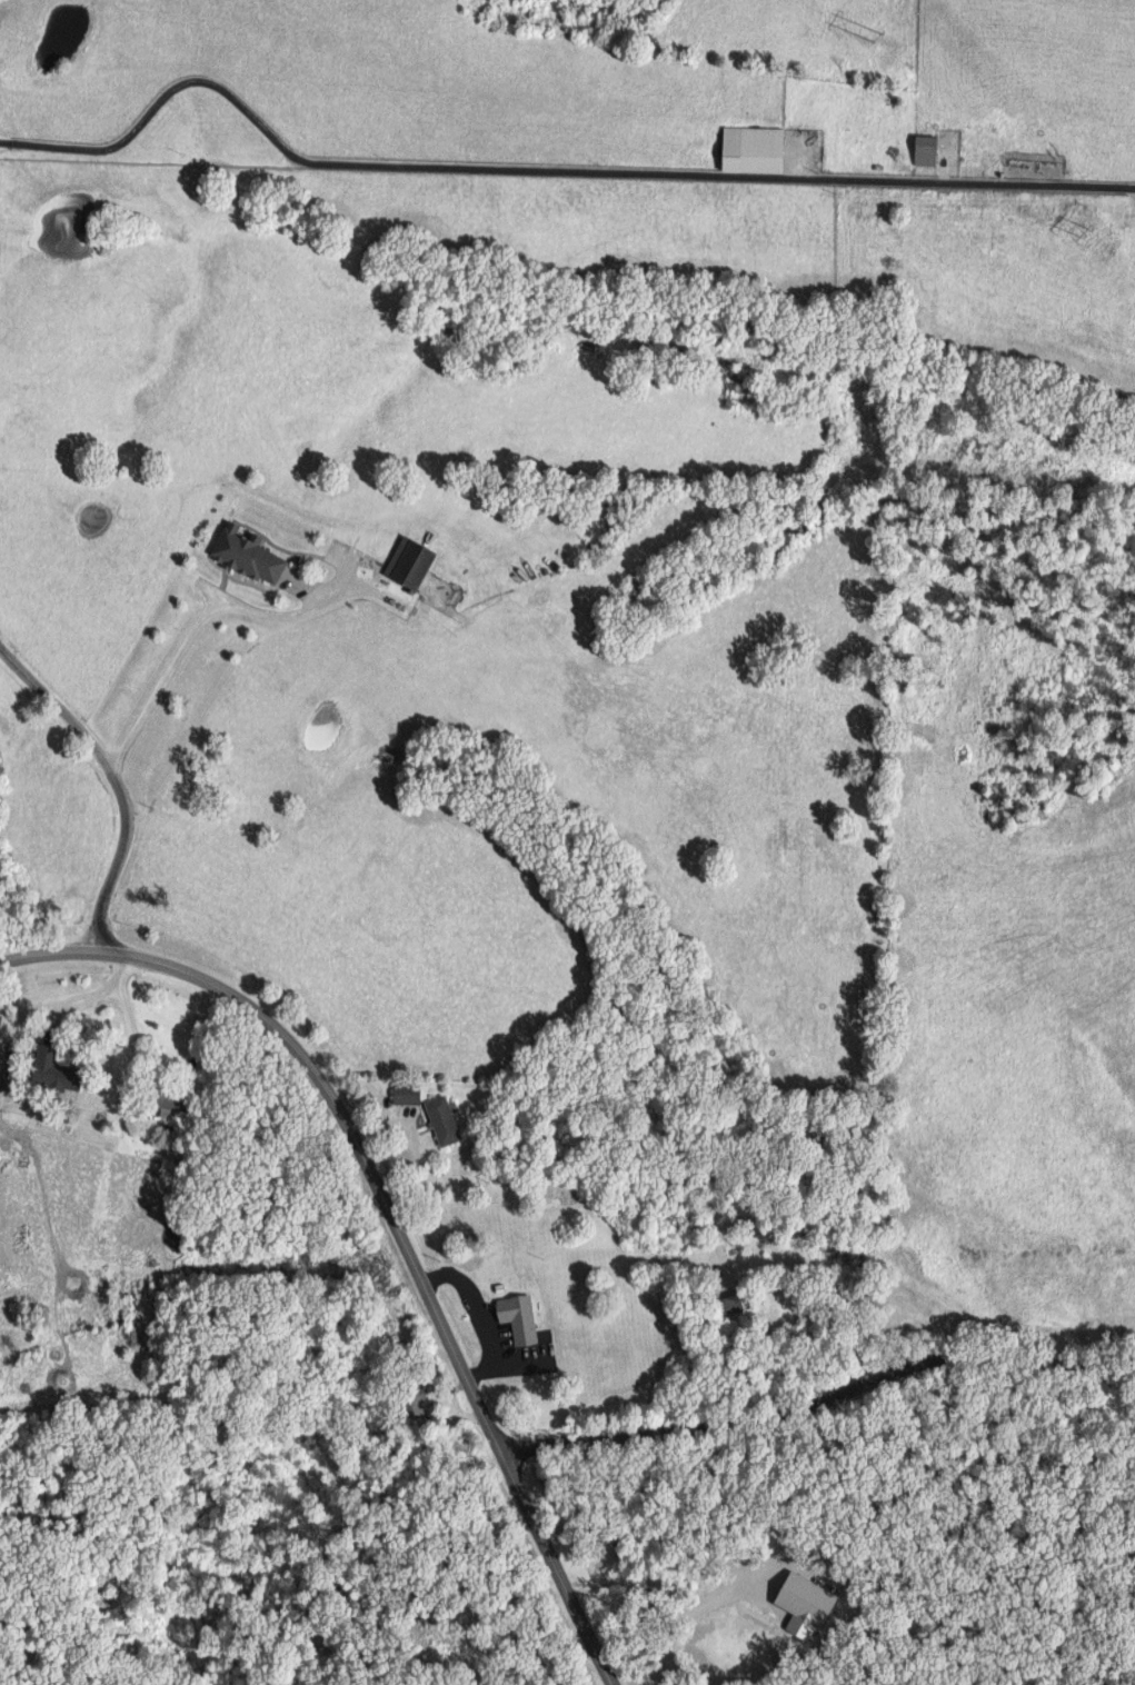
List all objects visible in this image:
power tower: (872, 33)
building: (757, 148)
building: (929, 149)
road: (538, 176)
power tower: (1085, 237)
building: (251, 554)
building: (414, 561)
road: (206, 607)
road: (115, 775)
road: (99, 993)
road: (135, 1048)
building: (59, 1070)
building: (409, 1094)
building: (180, 1100)
building: (446, 1120)
road: (439, 1209)
road: (387, 1214)
building: (521, 1318)
road: (481, 1320)
road: (770, 1367)
building: (417, 1402)
road: (820, 1404)
building: (810, 1601)
road: (687, 1609)

